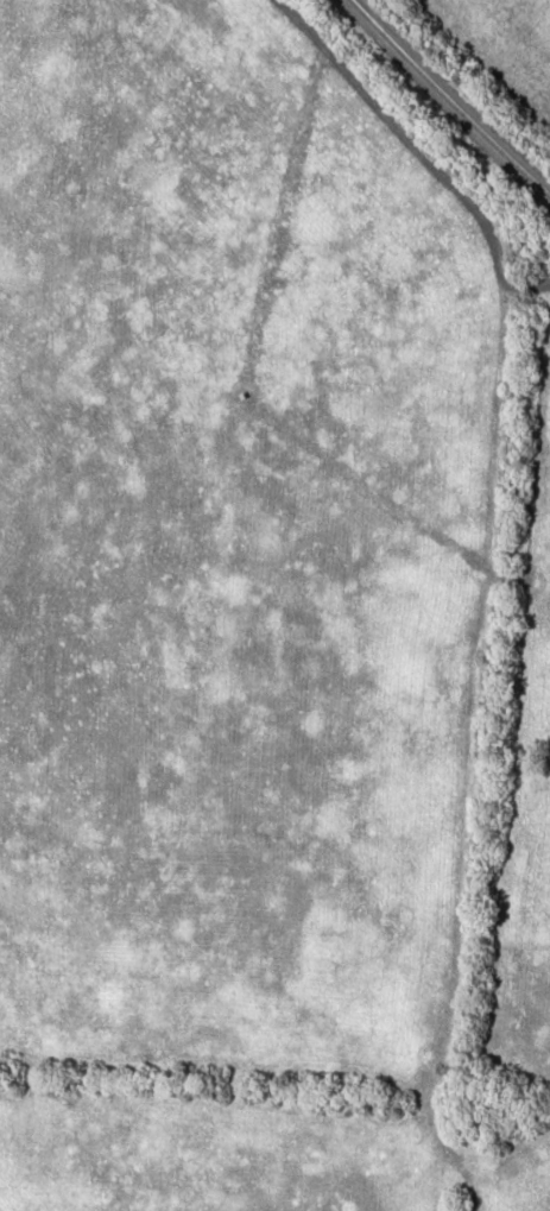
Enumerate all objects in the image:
railway: (463, 80)

